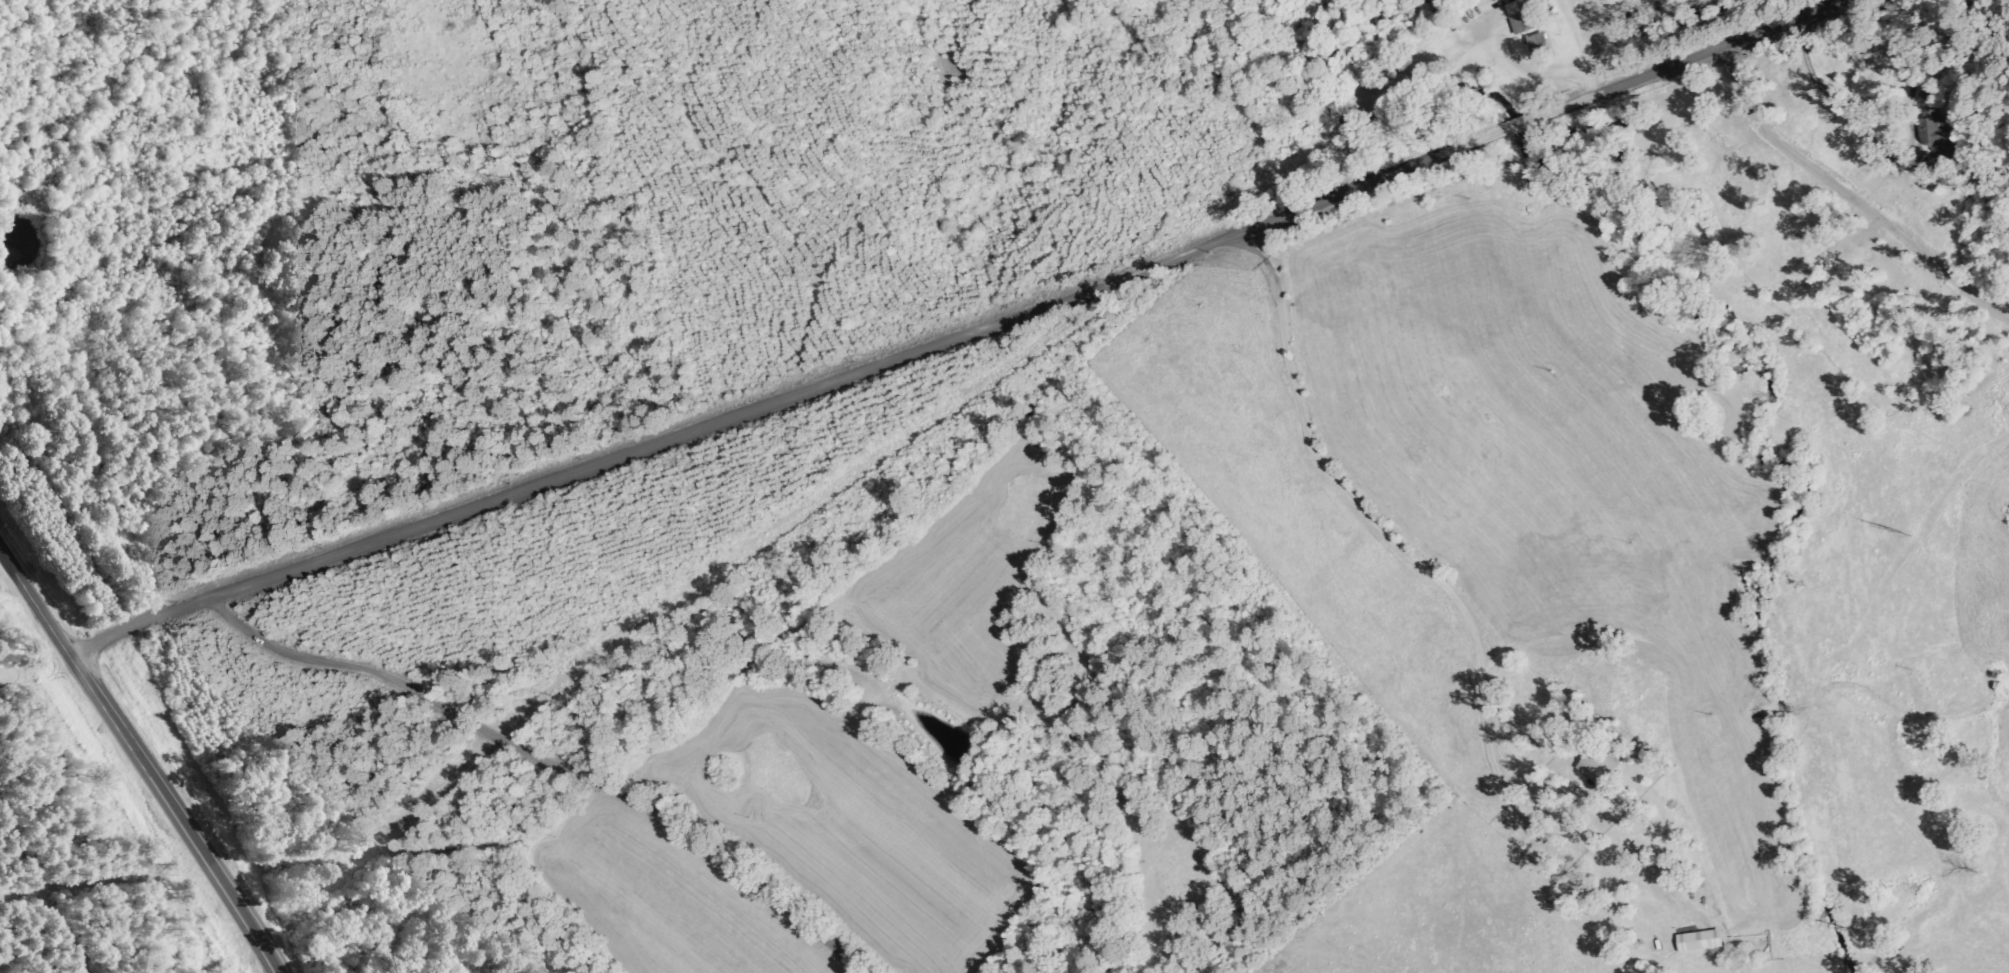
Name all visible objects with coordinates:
building: (1529, 19)
building: (1544, 46)
building: (1947, 153)
road: (990, 342)
road: (561, 751)
road: (142, 761)
building: (1604, 766)
building: (1704, 940)

